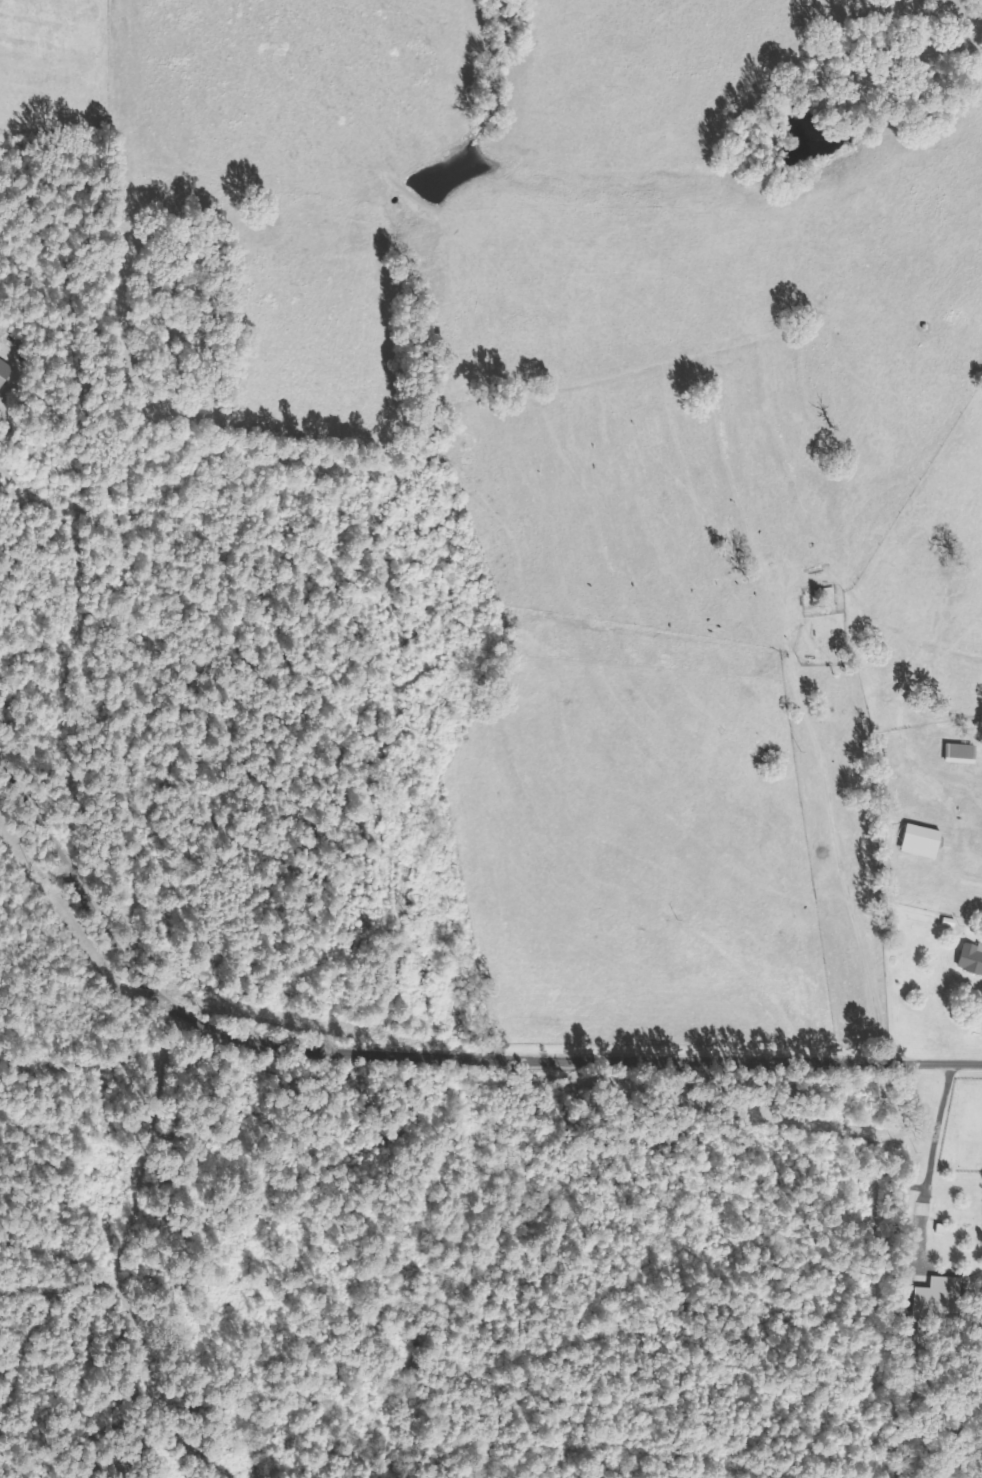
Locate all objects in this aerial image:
road: (165, 159)
building: (5, 372)
road: (395, 729)
building: (962, 754)
building: (923, 842)
road: (868, 851)
building: (973, 959)
road: (439, 1091)
building: (941, 1299)

